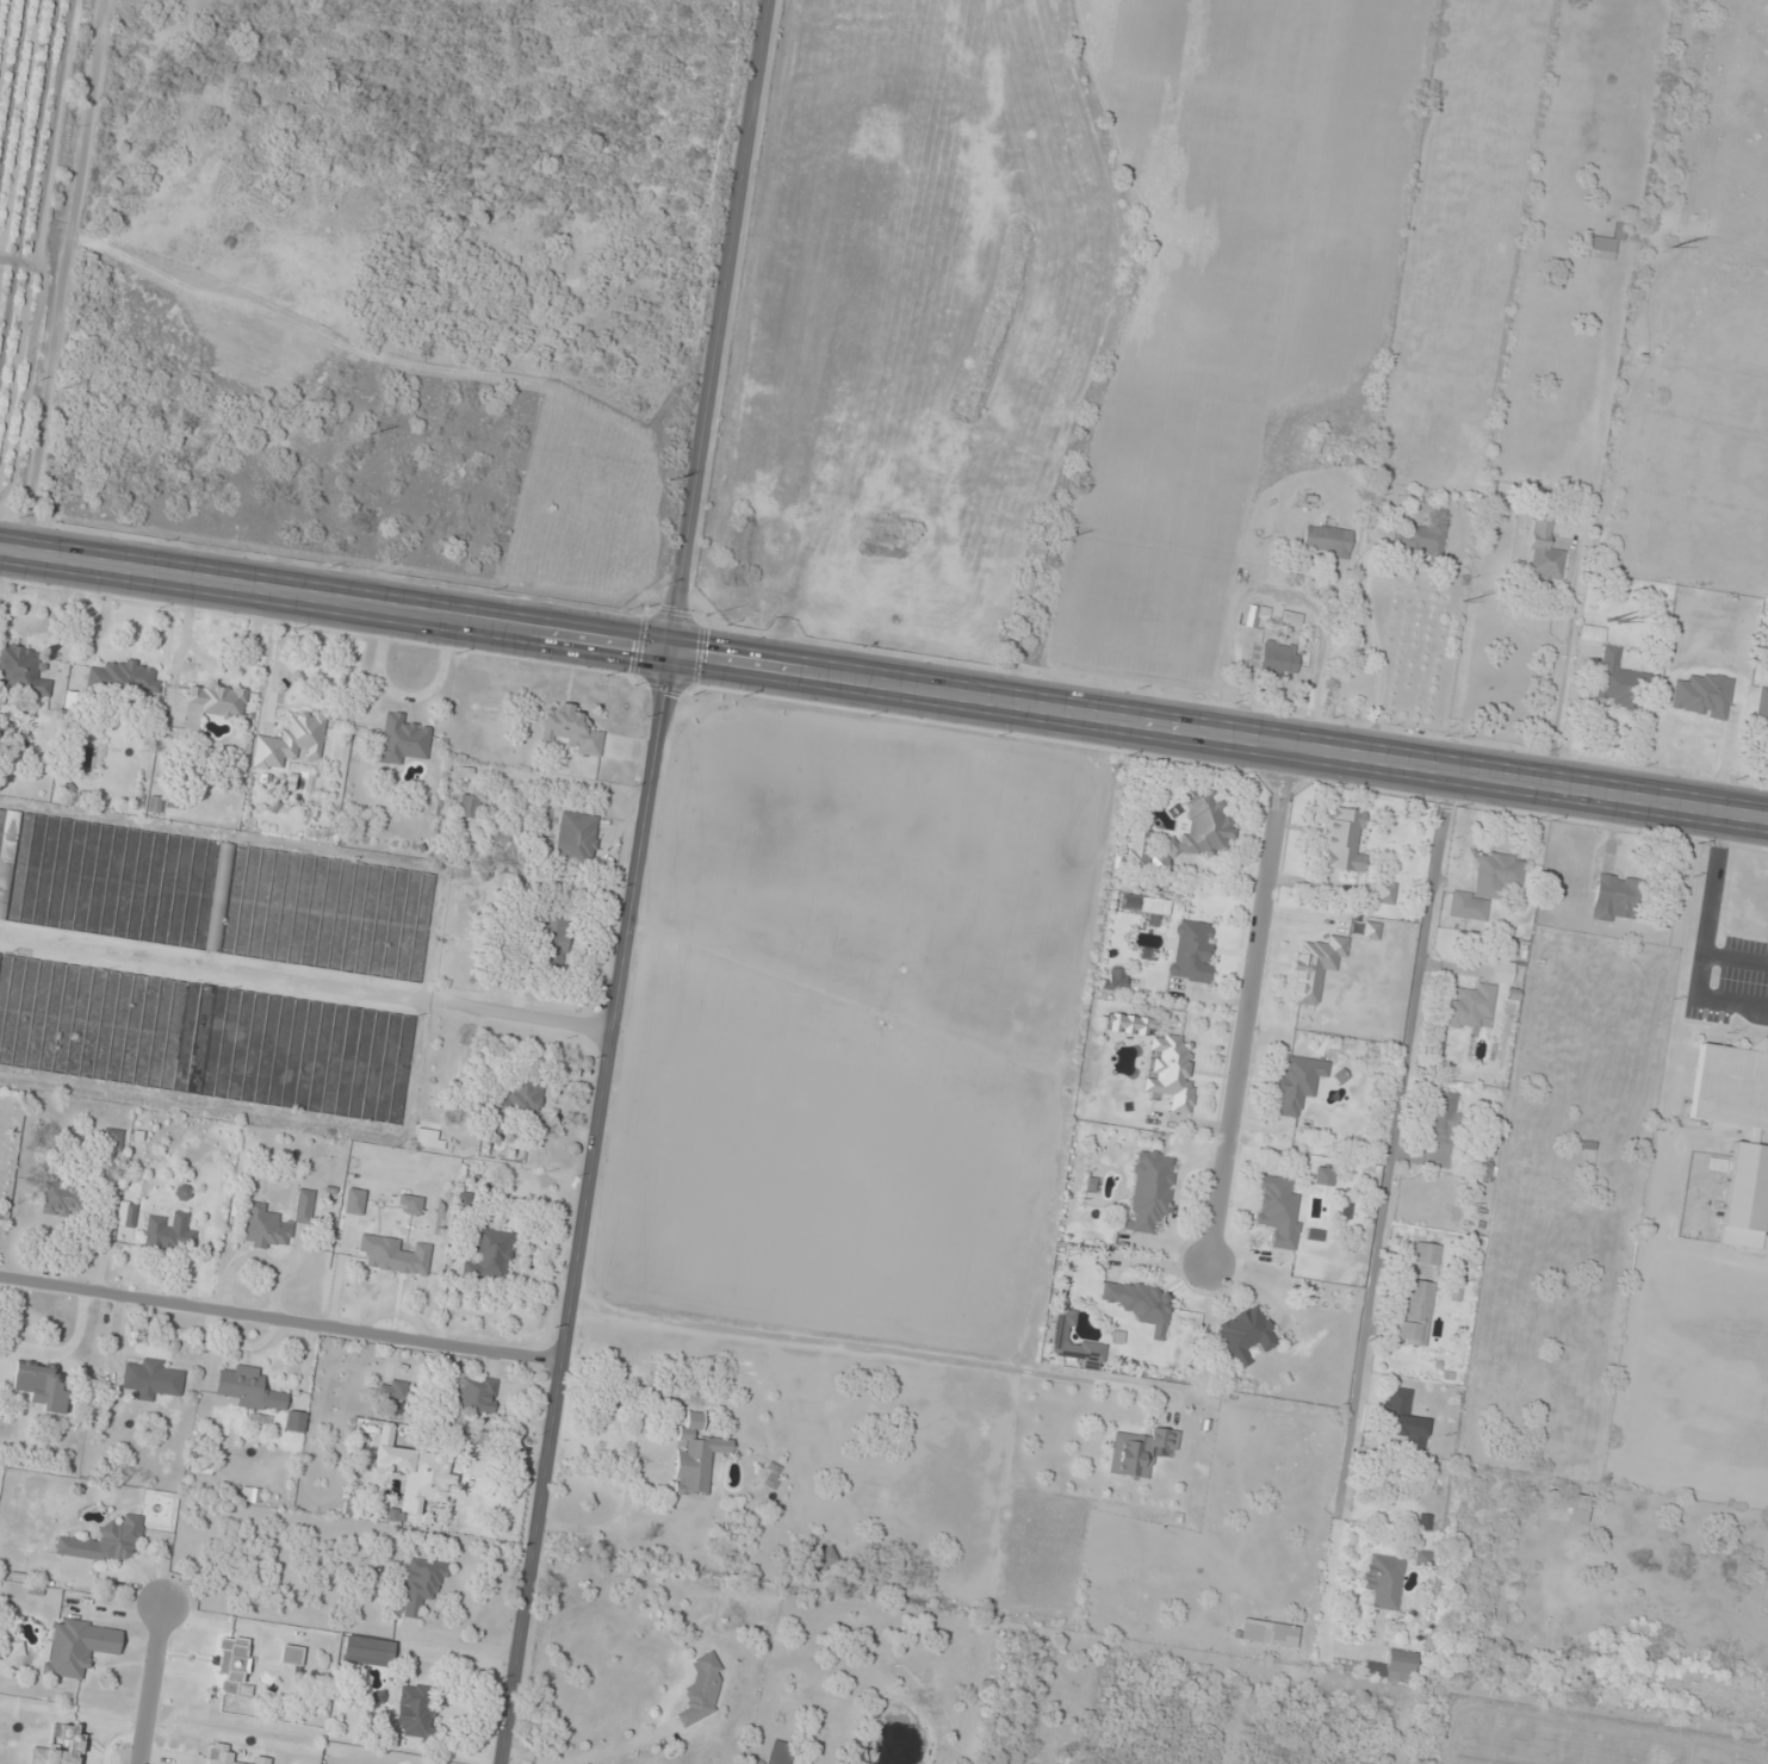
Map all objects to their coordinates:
building: (1602, 248)
road: (724, 333)
building: (1417, 539)
building: (1326, 540)
building: (1544, 551)
road: (337, 613)
building: (1255, 614)
building: (1290, 619)
building: (1593, 633)
building: (1278, 658)
traffic signals: (676, 666)
building: (23, 671)
building: (124, 677)
building: (1617, 681)
building: (1701, 695)
building: (73, 700)
building: (212, 703)
building: (1761, 710)
building: (569, 728)
building: (402, 739)
building: (290, 741)
road: (1222, 743)
building: (469, 806)
building: (1202, 822)
building: (576, 839)
building: (1344, 839)
building: (1137, 850)
building: (1487, 884)
building: (213, 893)
building: (1384, 893)
building: (1615, 896)
building: (1153, 907)
building: (1365, 930)
building: (554, 940)
building: (1191, 950)
building: (1315, 968)
building: (1502, 971)
building: (1115, 979)
building: (1470, 1007)
road: (1251, 1011)
building: (204, 1038)
building: (1170, 1072)
building: (1297, 1082)
building: (515, 1101)
building: (1440, 1116)
road: (1392, 1137)
building: (113, 1139)
building: (428, 1139)
building: (1747, 1144)
building: (1323, 1176)
building: (1149, 1191)
building: (62, 1199)
building: (304, 1205)
building: (1278, 1210)
road: (587, 1215)
building: (265, 1228)
building: (169, 1232)
building: (1425, 1254)
building: (393, 1255)
building: (489, 1256)
building: (1140, 1303)
building: (1414, 1312)
road: (283, 1324)
building: (1246, 1335)
building: (1073, 1341)
building: (153, 1379)
building: (41, 1385)
building: (256, 1393)
building: (472, 1393)
building: (393, 1395)
building: (1403, 1420)
building: (1139, 1452)
building: (695, 1455)
building: (417, 1476)
building: (1565, 1507)
building: (1423, 1522)
building: (105, 1542)
building: (821, 1558)
building: (1382, 1580)
building: (421, 1584)
building: (1268, 1633)
building: (77, 1646)
building: (367, 1651)
building: (291, 1654)
building: (1394, 1664)
building: (231, 1665)
road: (151, 1683)
building: (701, 1690)
building: (415, 1709)
building: (60, 1746)
building: (780, 1753)
building: (229, 1754)

